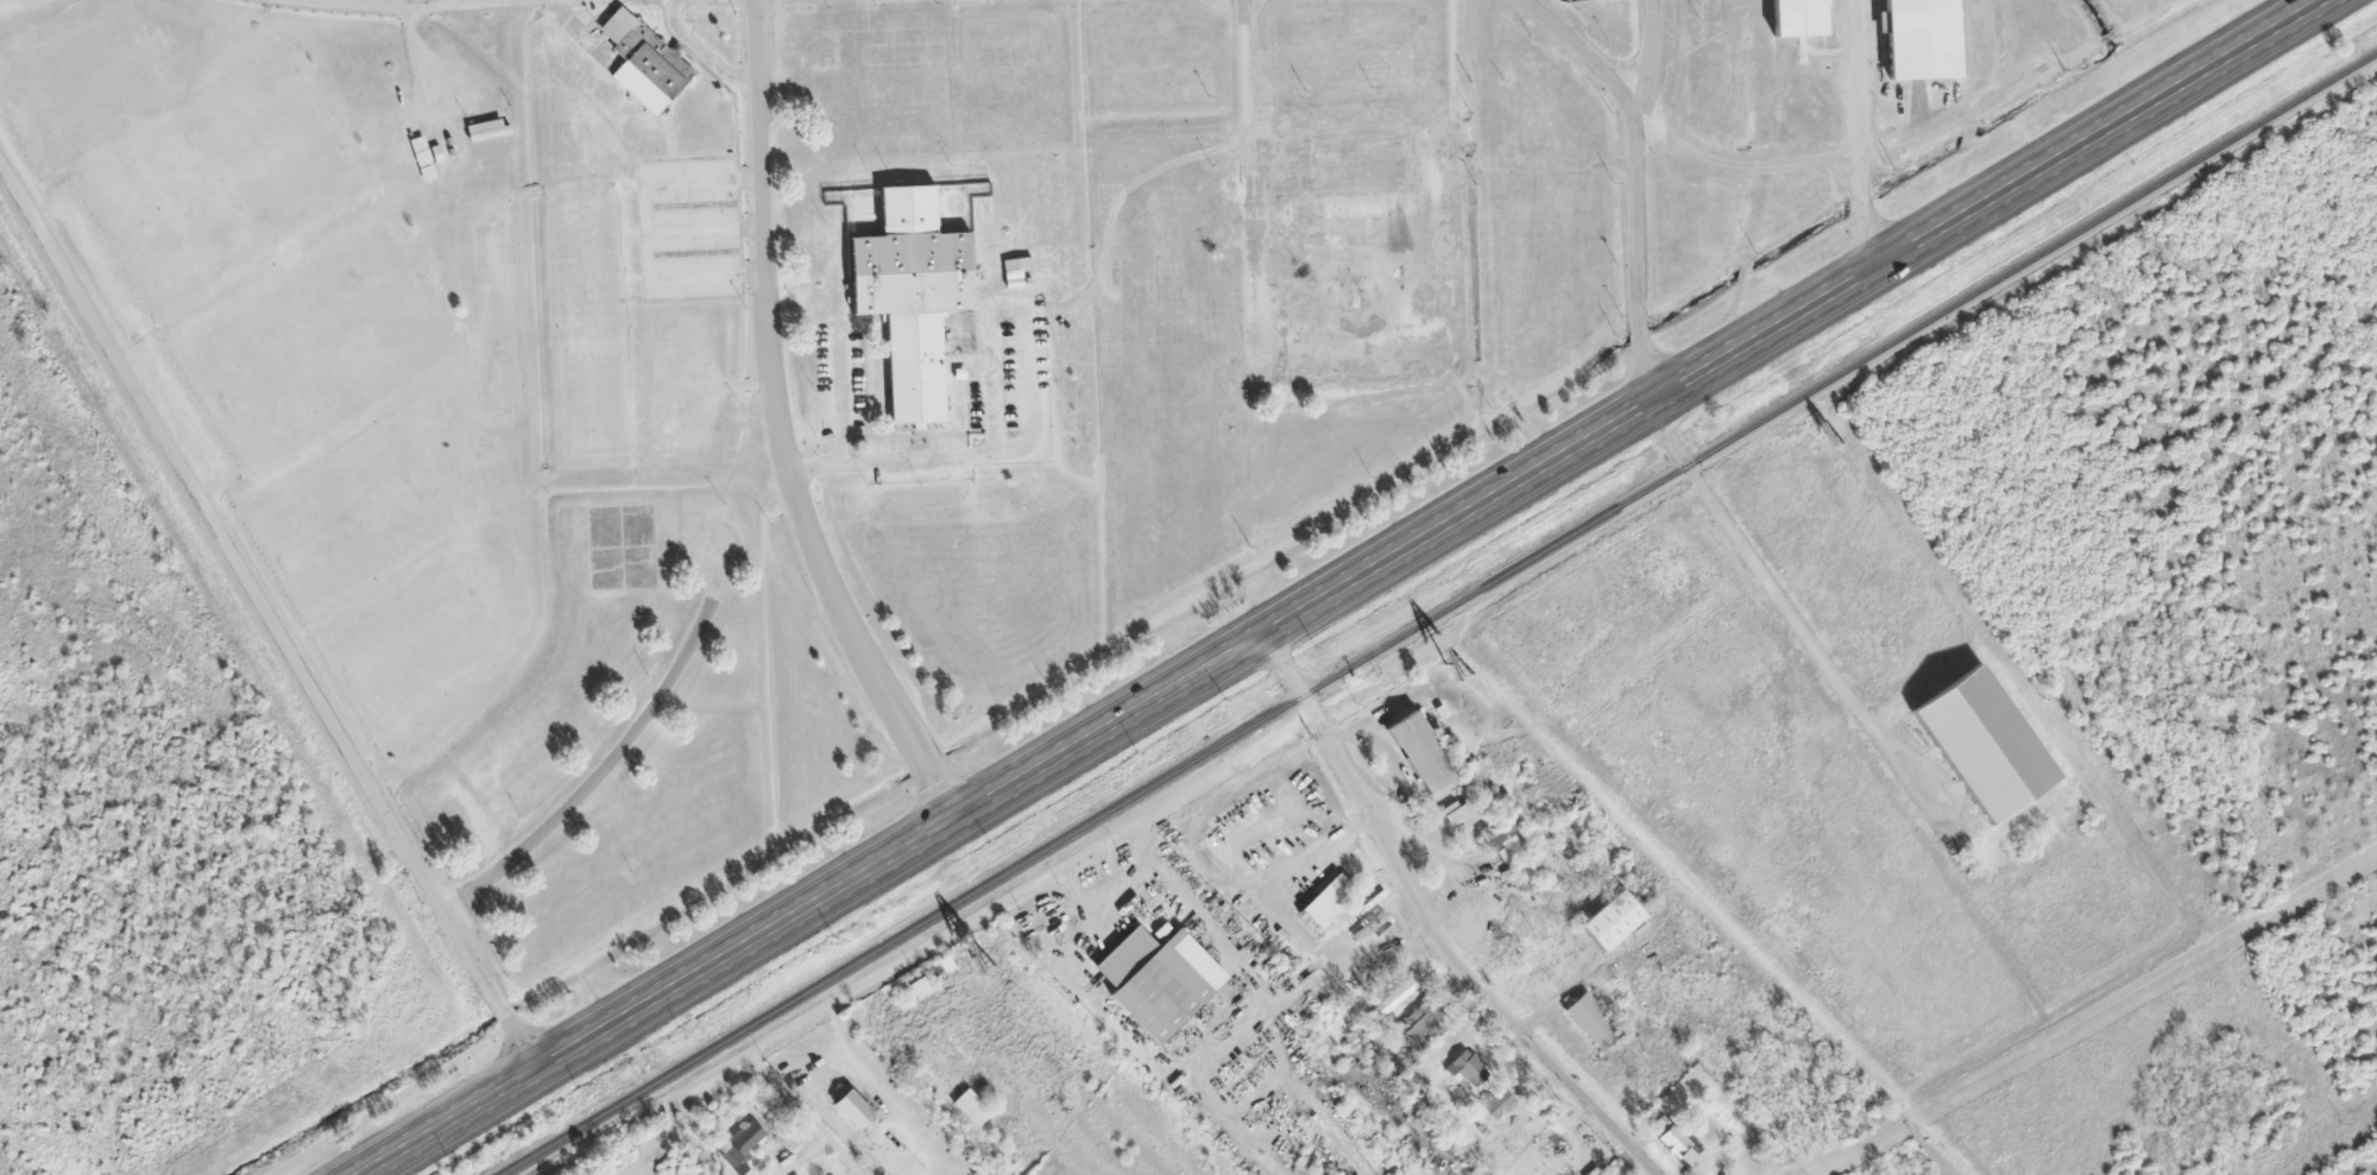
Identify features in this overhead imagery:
building: (1798, 18)
building: (1921, 39)
road: (1653, 57)
building: (643, 62)
road: (1490, 67)
road: (1854, 132)
building: (422, 158)
road: (1790, 162)
road: (1638, 257)
building: (912, 273)
building: (1011, 274)
road: (780, 428)
road: (1341, 587)
railway: (1440, 608)
road: (1784, 611)
road: (267, 617)
building: (1988, 746)
building: (1423, 754)
road: (617, 756)
building: (1455, 811)
building: (1512, 846)
road: (998, 903)
building: (1615, 918)
road: (1437, 926)
building: (1373, 927)
building: (1158, 979)
building: (919, 987)
building: (1395, 996)
building: (1591, 1022)
building: (1468, 1068)
building: (1499, 1105)
building: (852, 1108)
building: (971, 1108)
road: (806, 1113)
building: (1672, 1139)
building: (742, 1148)

